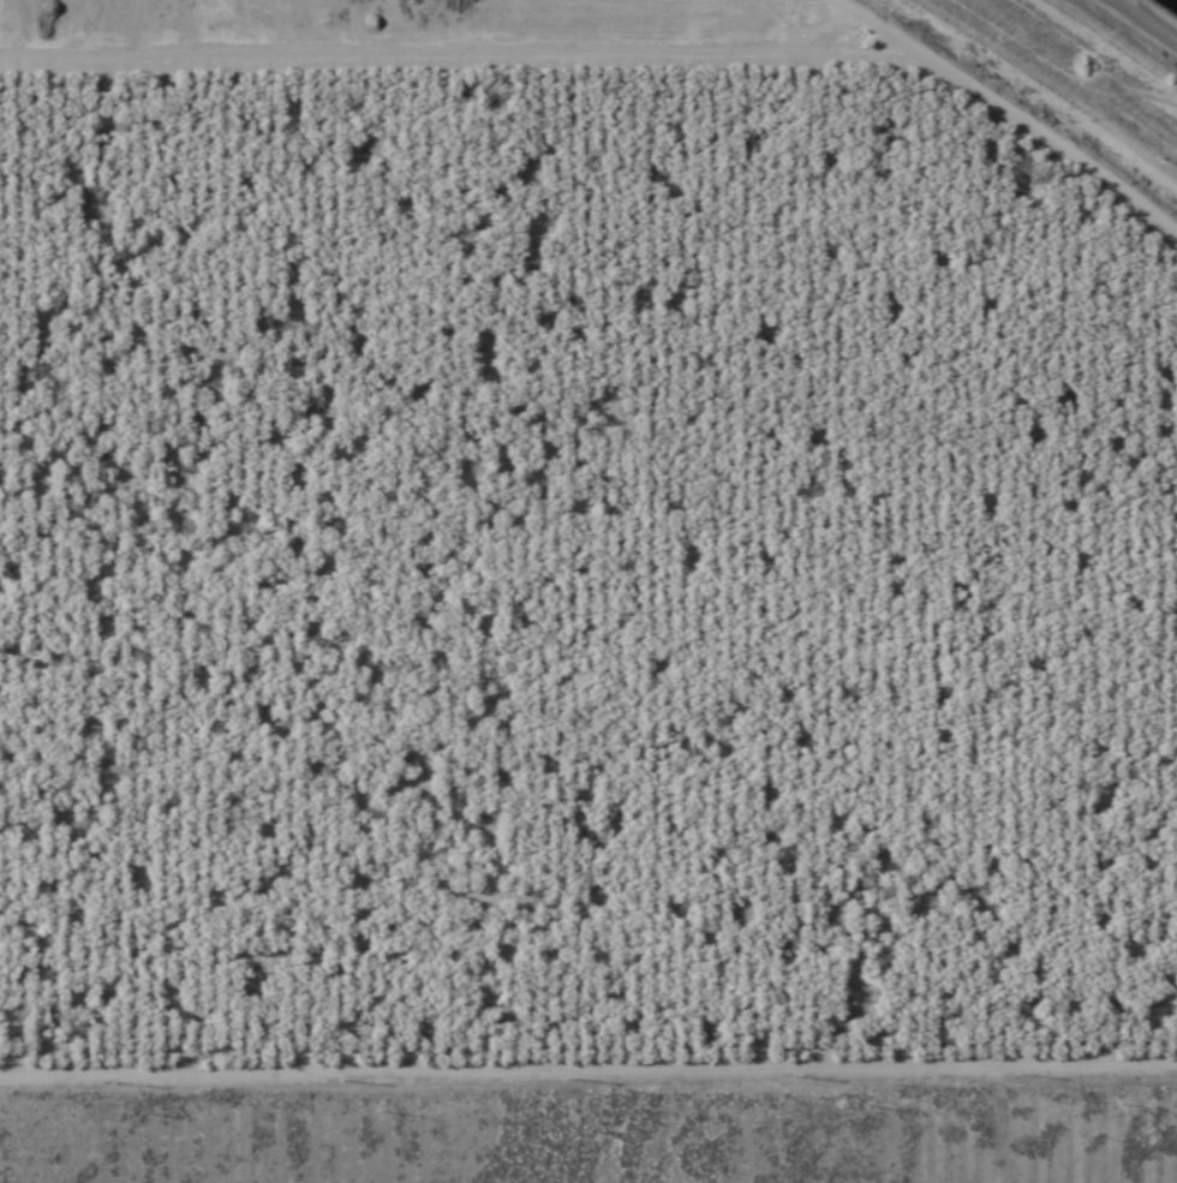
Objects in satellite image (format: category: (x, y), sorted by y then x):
road: (1143, 22)

